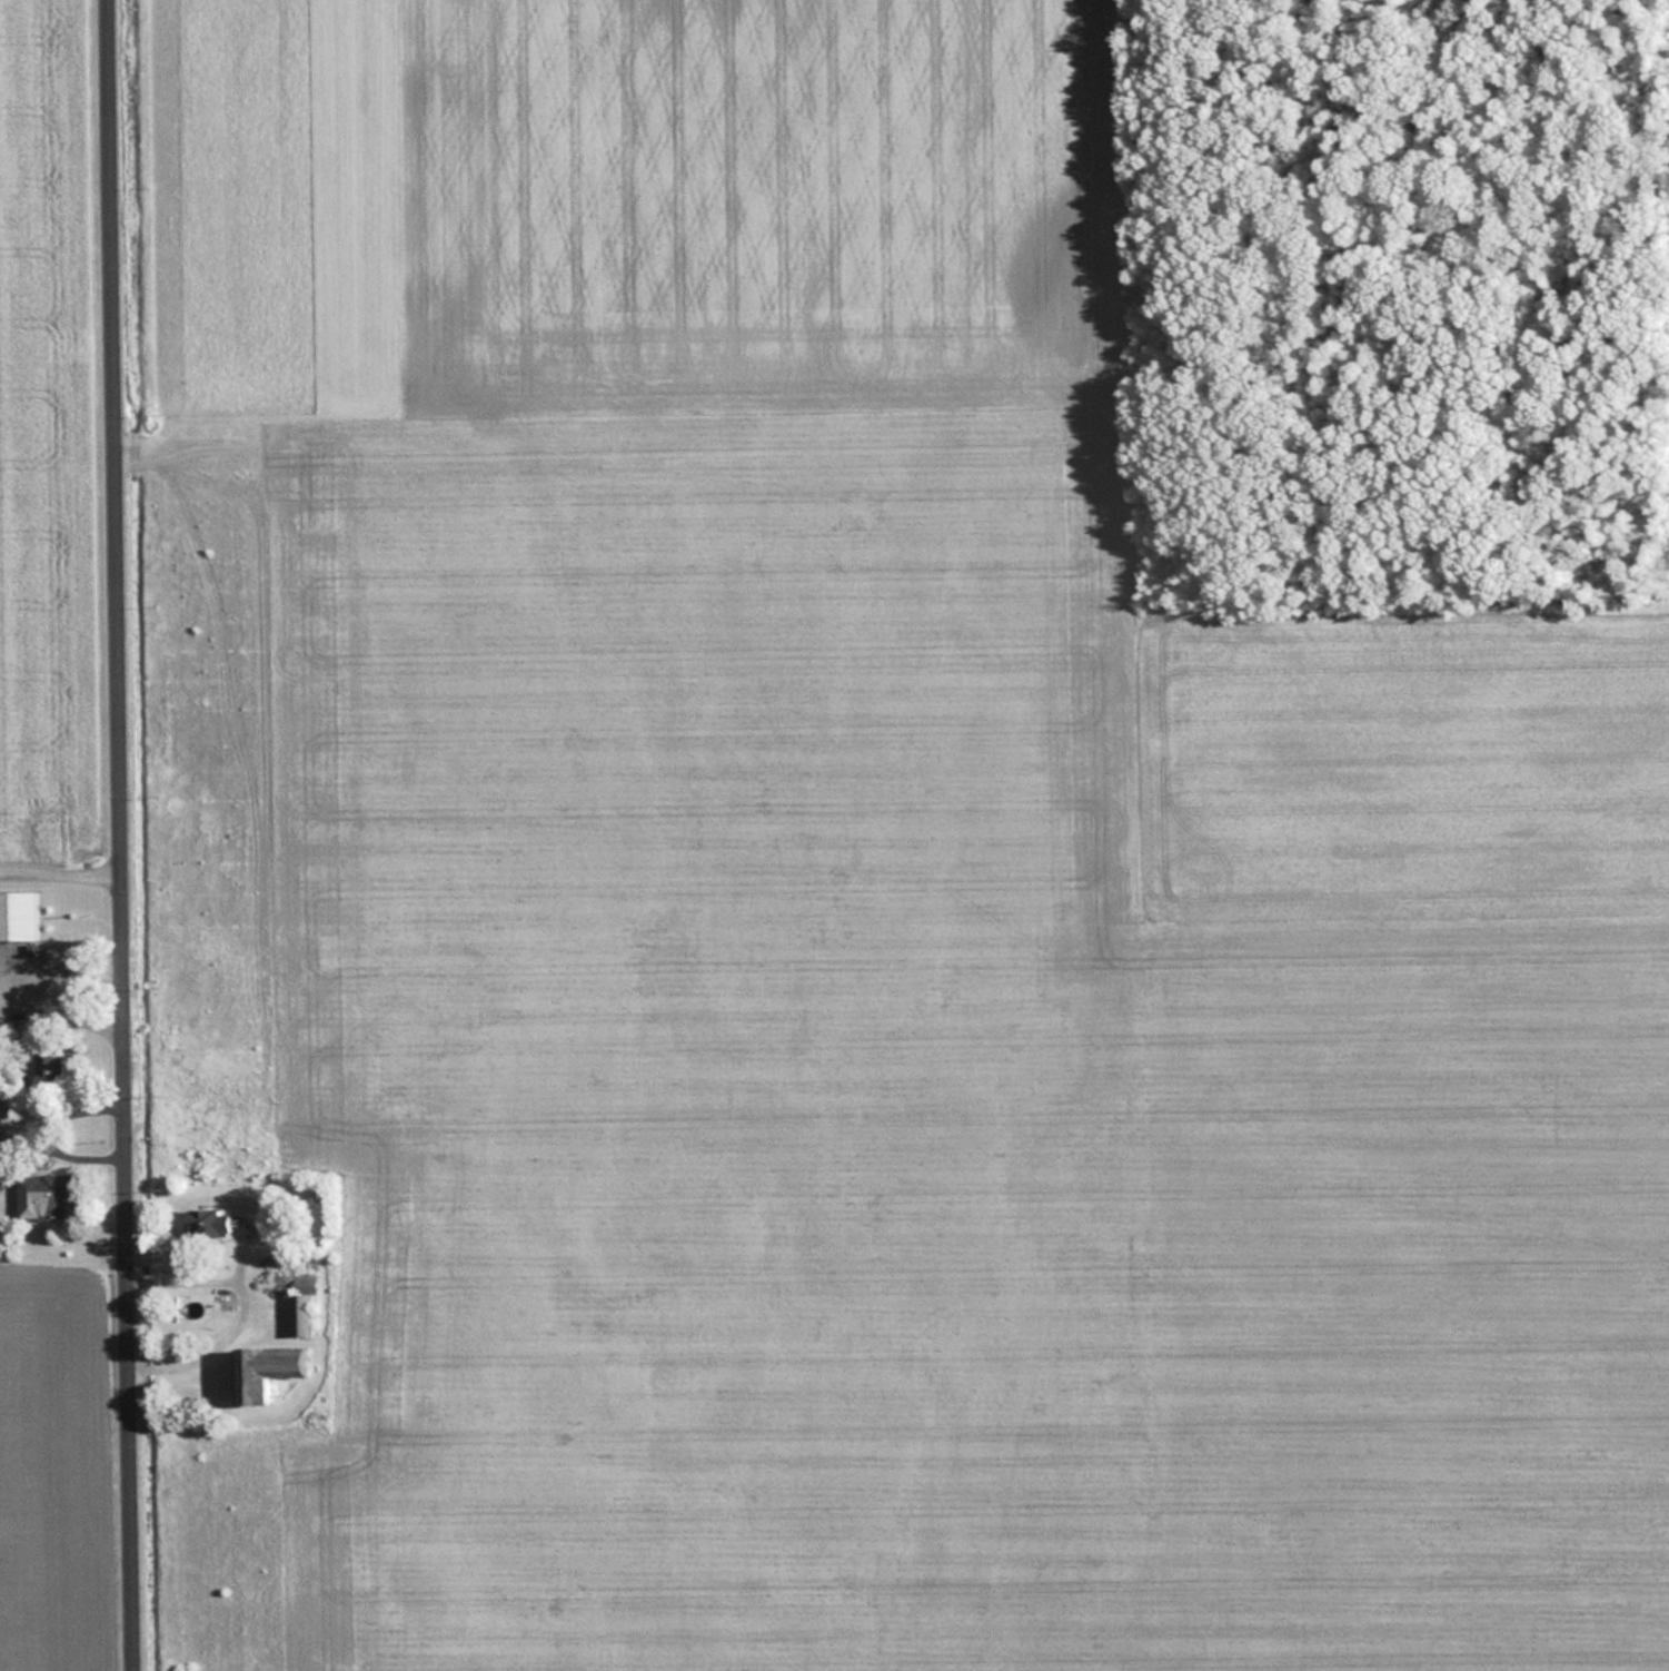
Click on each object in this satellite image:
road: (123, 834)
road: (61, 872)
building: (18, 913)
road: (66, 1015)
building: (1, 1029)
building: (50, 1069)
building: (41, 1195)
building: (206, 1220)
building: (300, 1304)
building: (262, 1370)

